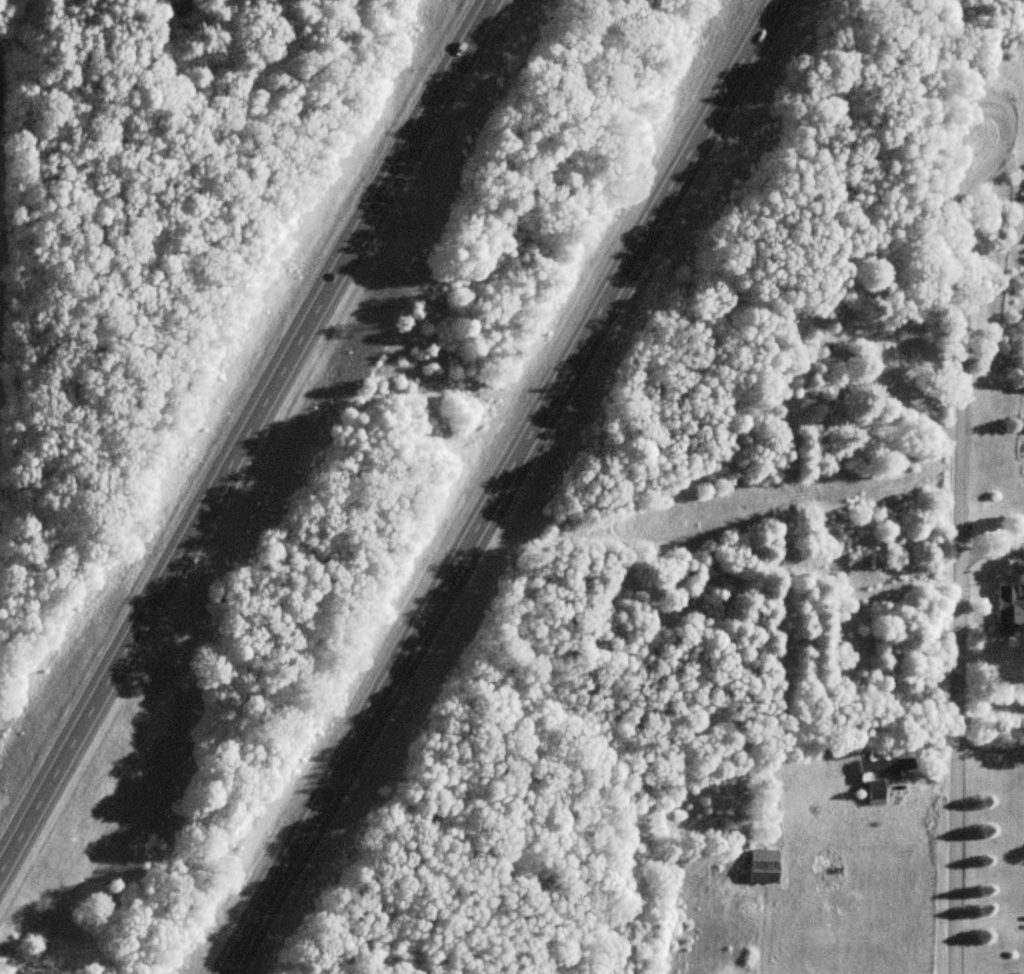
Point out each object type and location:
building: (908, 342)
road: (247, 429)
road: (494, 488)
road: (944, 555)
road: (984, 556)
building: (1007, 610)
building: (884, 767)
building: (873, 794)
building: (762, 867)

